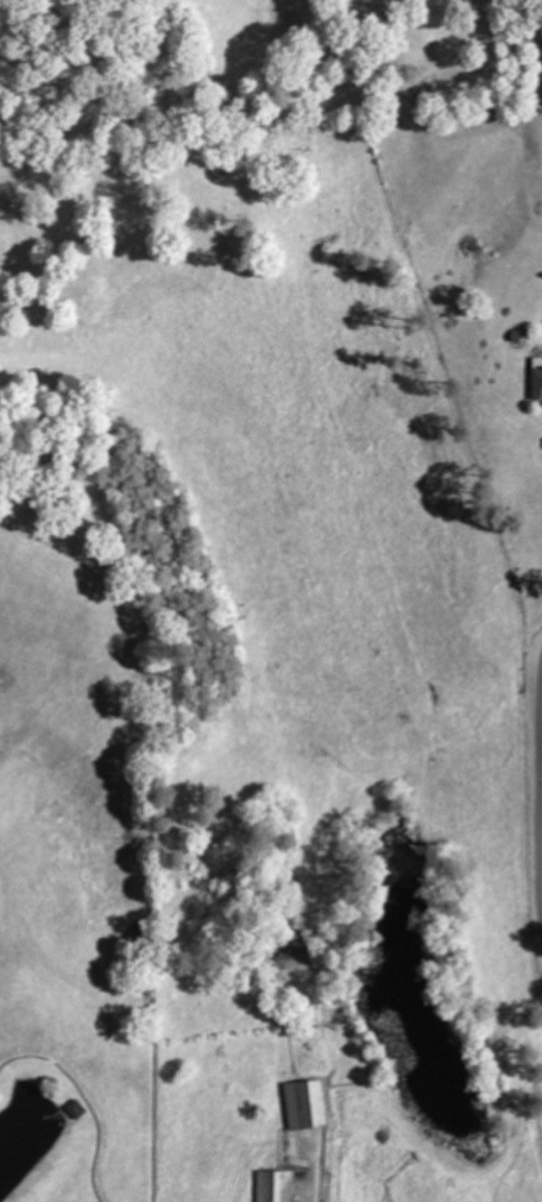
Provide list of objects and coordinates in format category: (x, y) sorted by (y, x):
road: (537, 37)
building: (538, 377)
building: (308, 1105)
building: (78, 1109)
building: (277, 1185)

